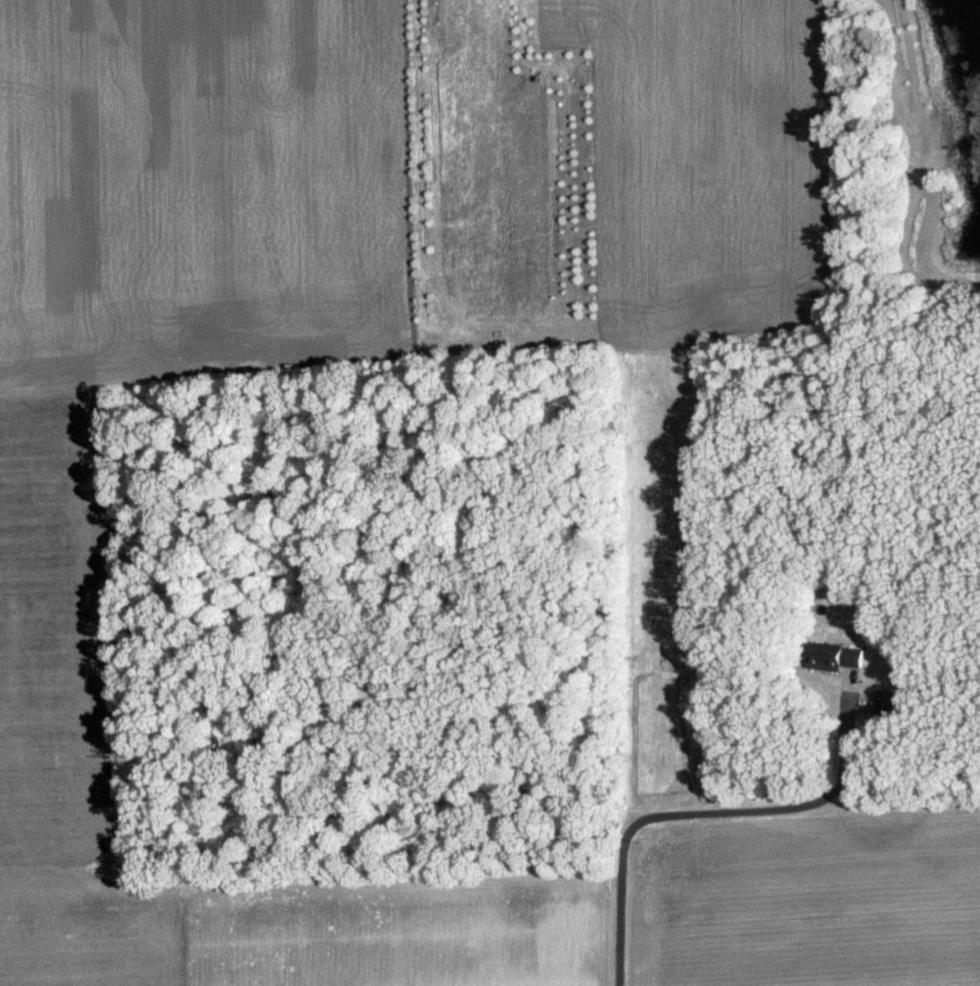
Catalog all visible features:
building: (836, 656)
road: (694, 809)

